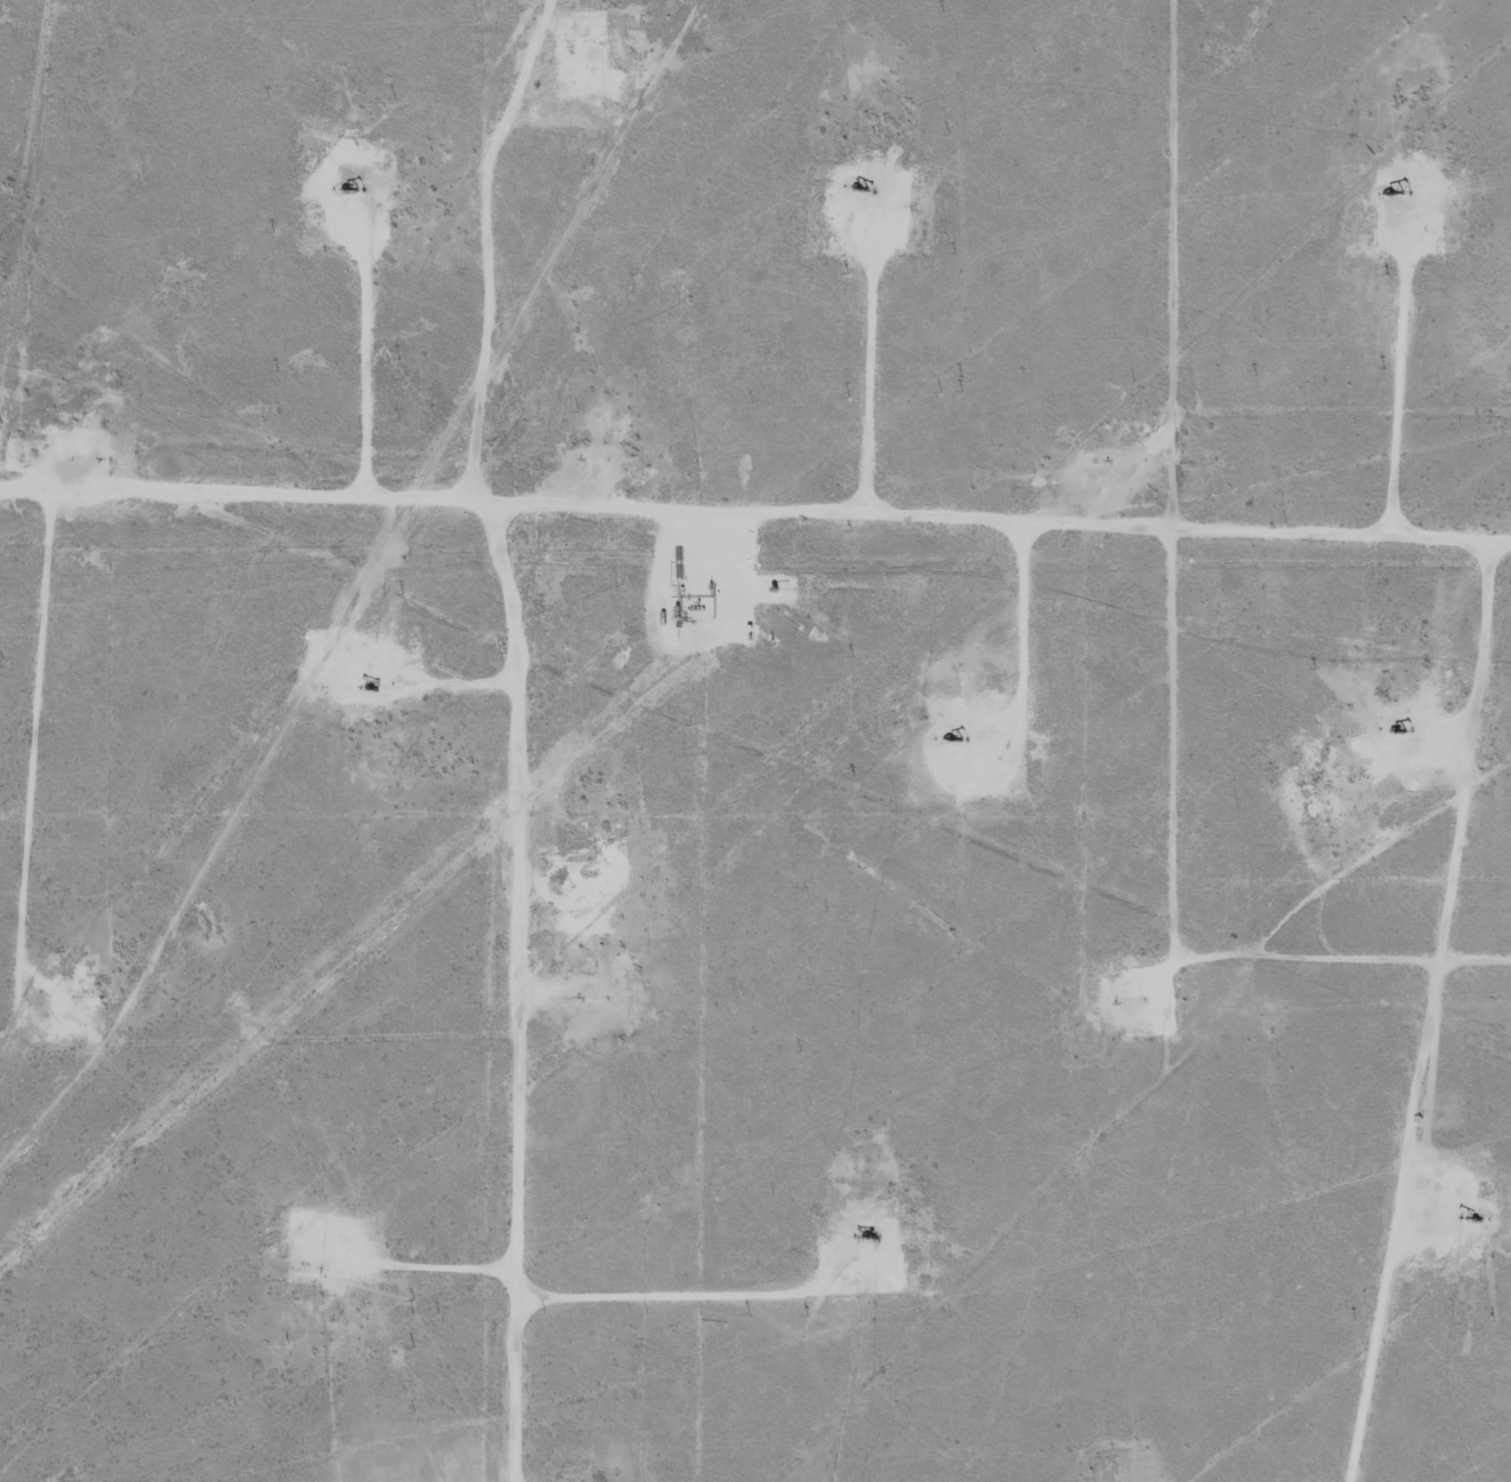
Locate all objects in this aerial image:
road: (755, 496)
road: (1155, 629)
road: (53, 722)
road: (522, 732)

